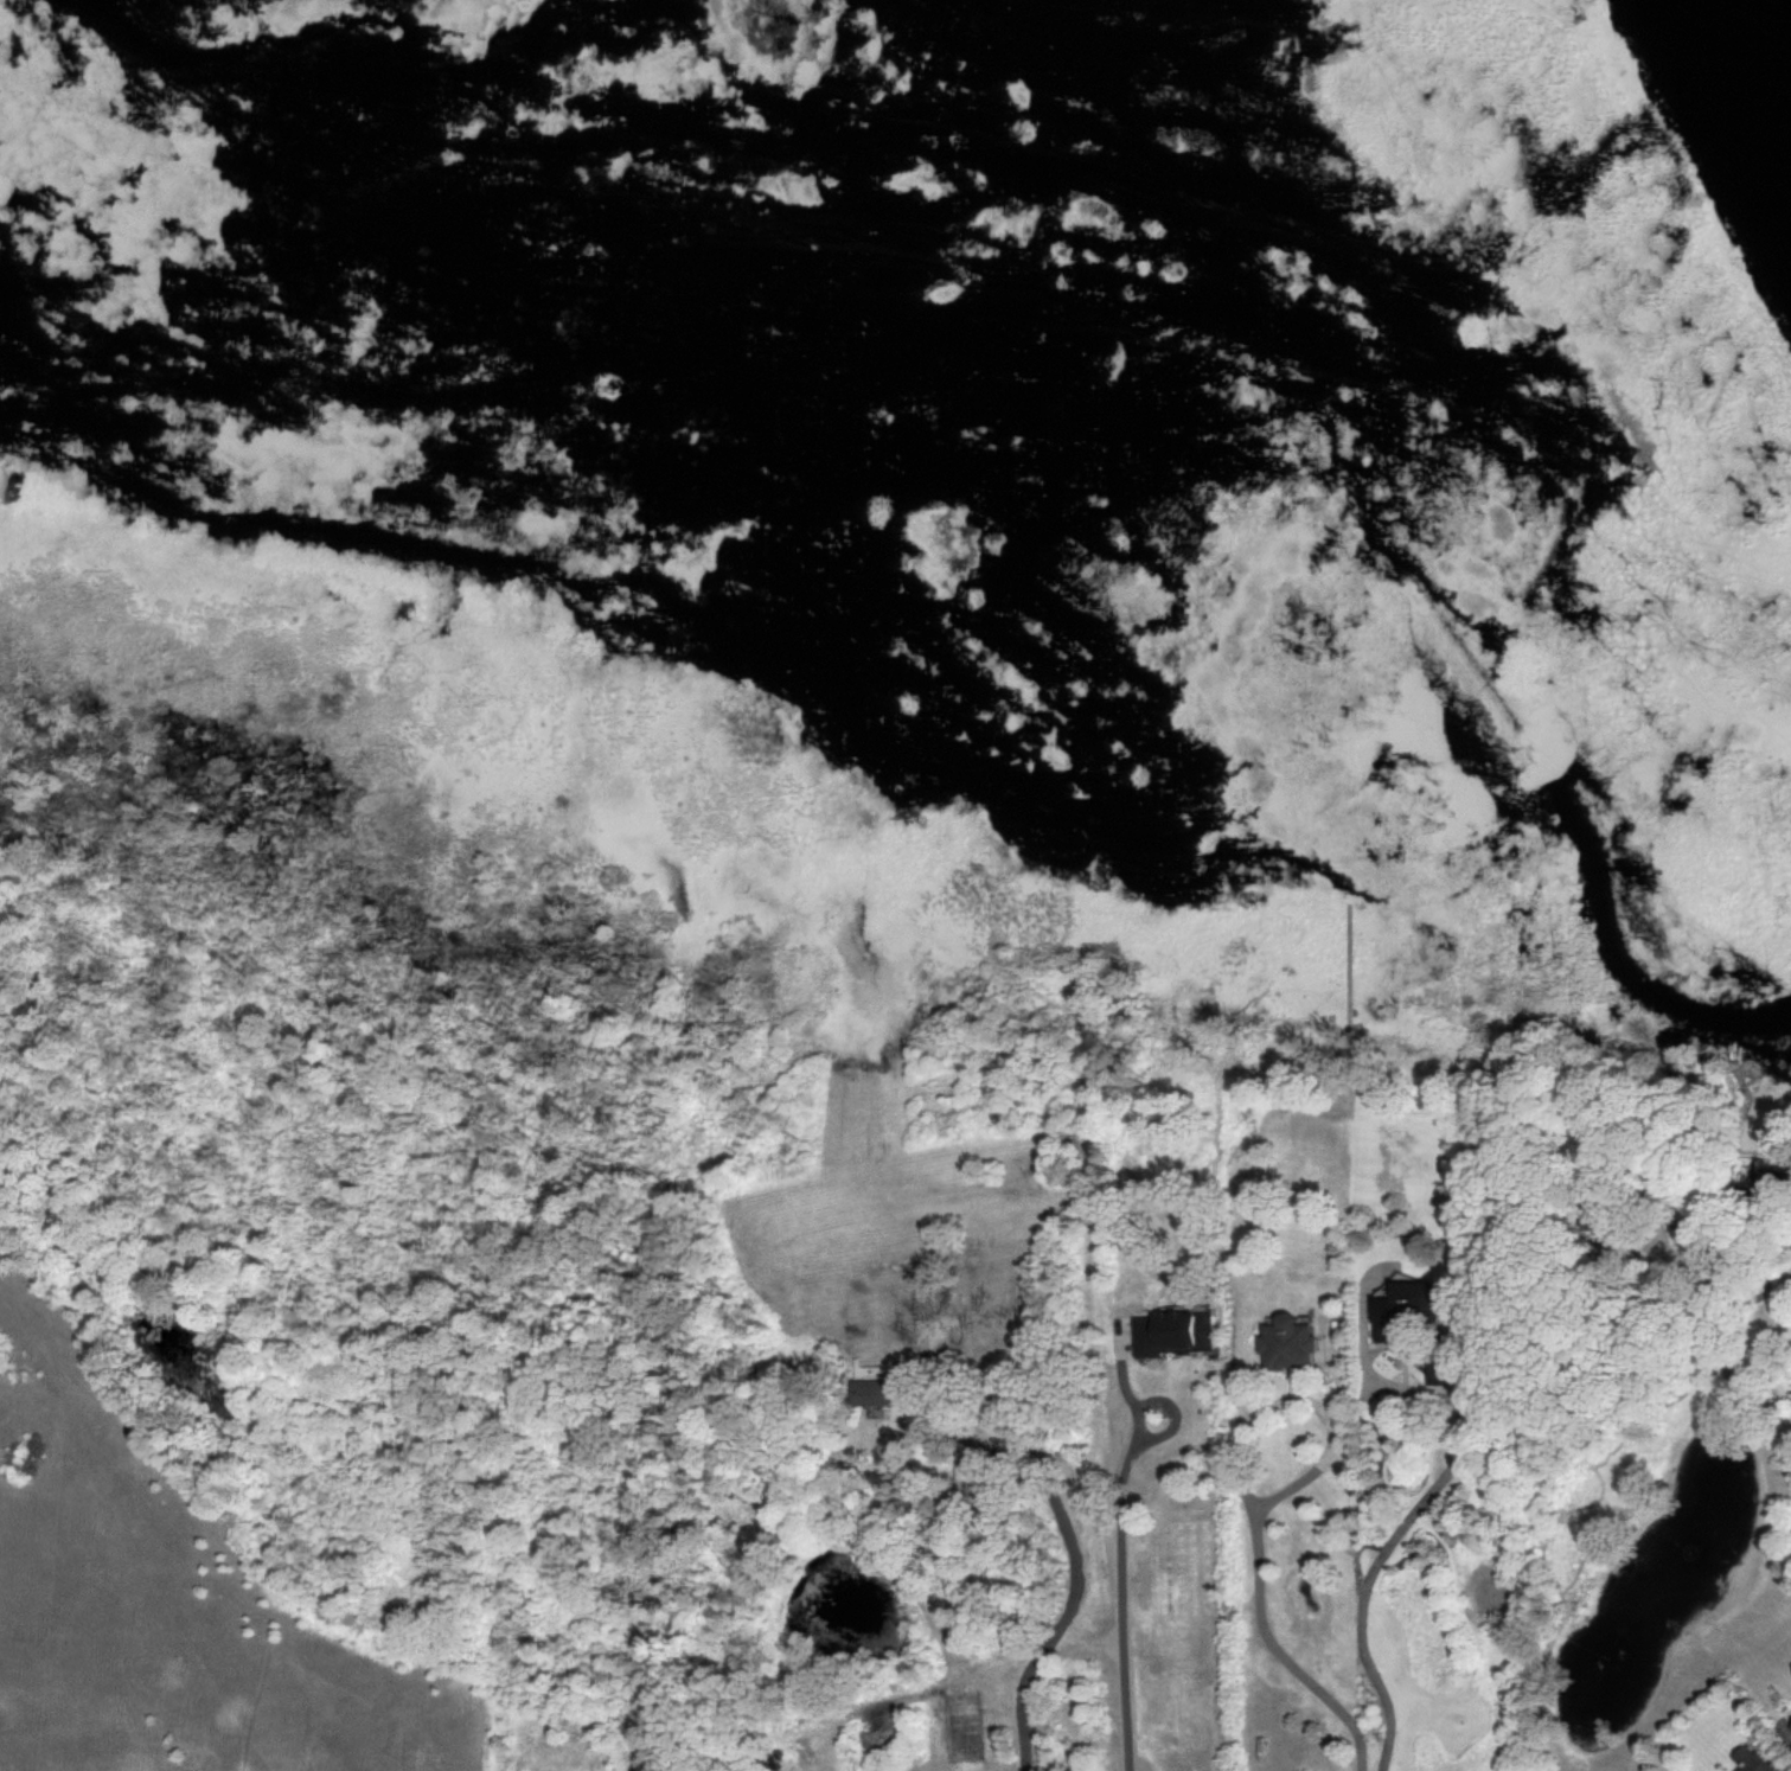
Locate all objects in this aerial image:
building: (1408, 1308)
building: (1173, 1334)
building: (1285, 1344)
building: (1402, 1360)
building: (1439, 1369)
building: (872, 1393)
building: (971, 1479)
road: (1401, 1527)
road: (1259, 1552)
road: (1117, 1617)
road: (952, 1680)
road: (1022, 1715)
building: (1790, 1728)
building: (1751, 1760)

